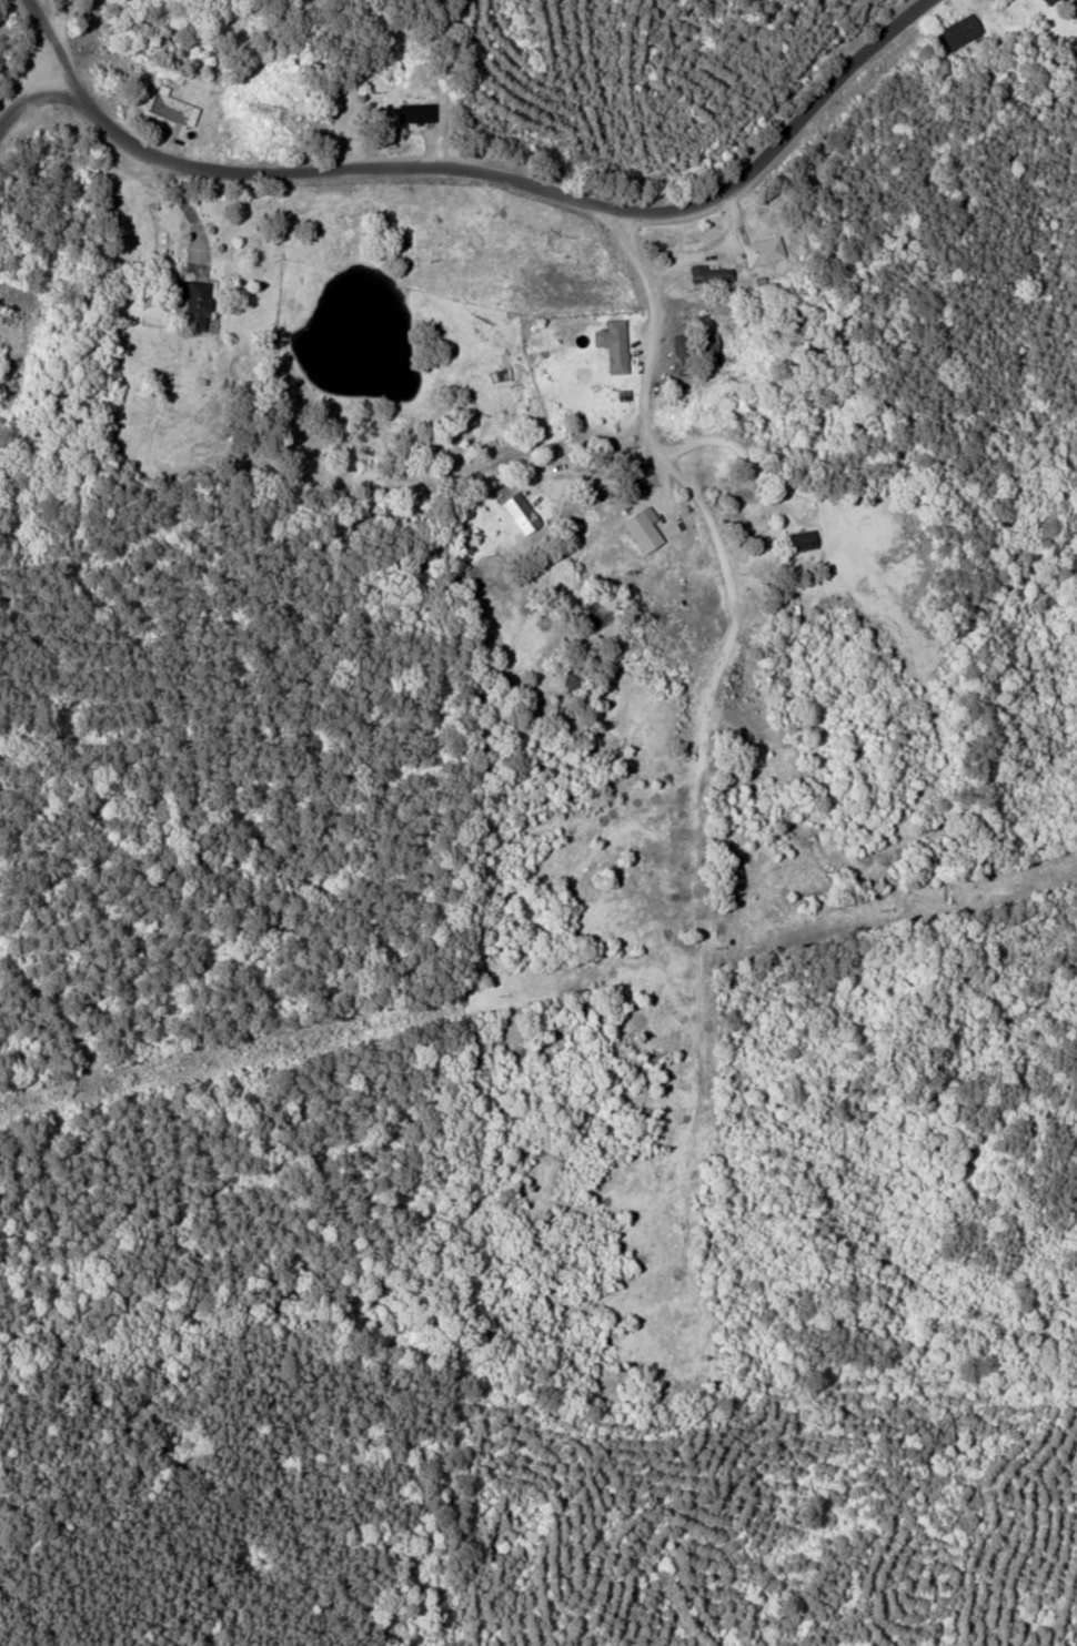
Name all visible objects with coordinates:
building: (1047, 1)
road: (43, 28)
building: (958, 29)
road: (28, 94)
building: (171, 105)
building: (414, 111)
road: (507, 176)
building: (762, 250)
building: (707, 273)
building: (191, 302)
building: (612, 343)
building: (693, 343)
building: (519, 512)
building: (641, 531)
building: (801, 539)

